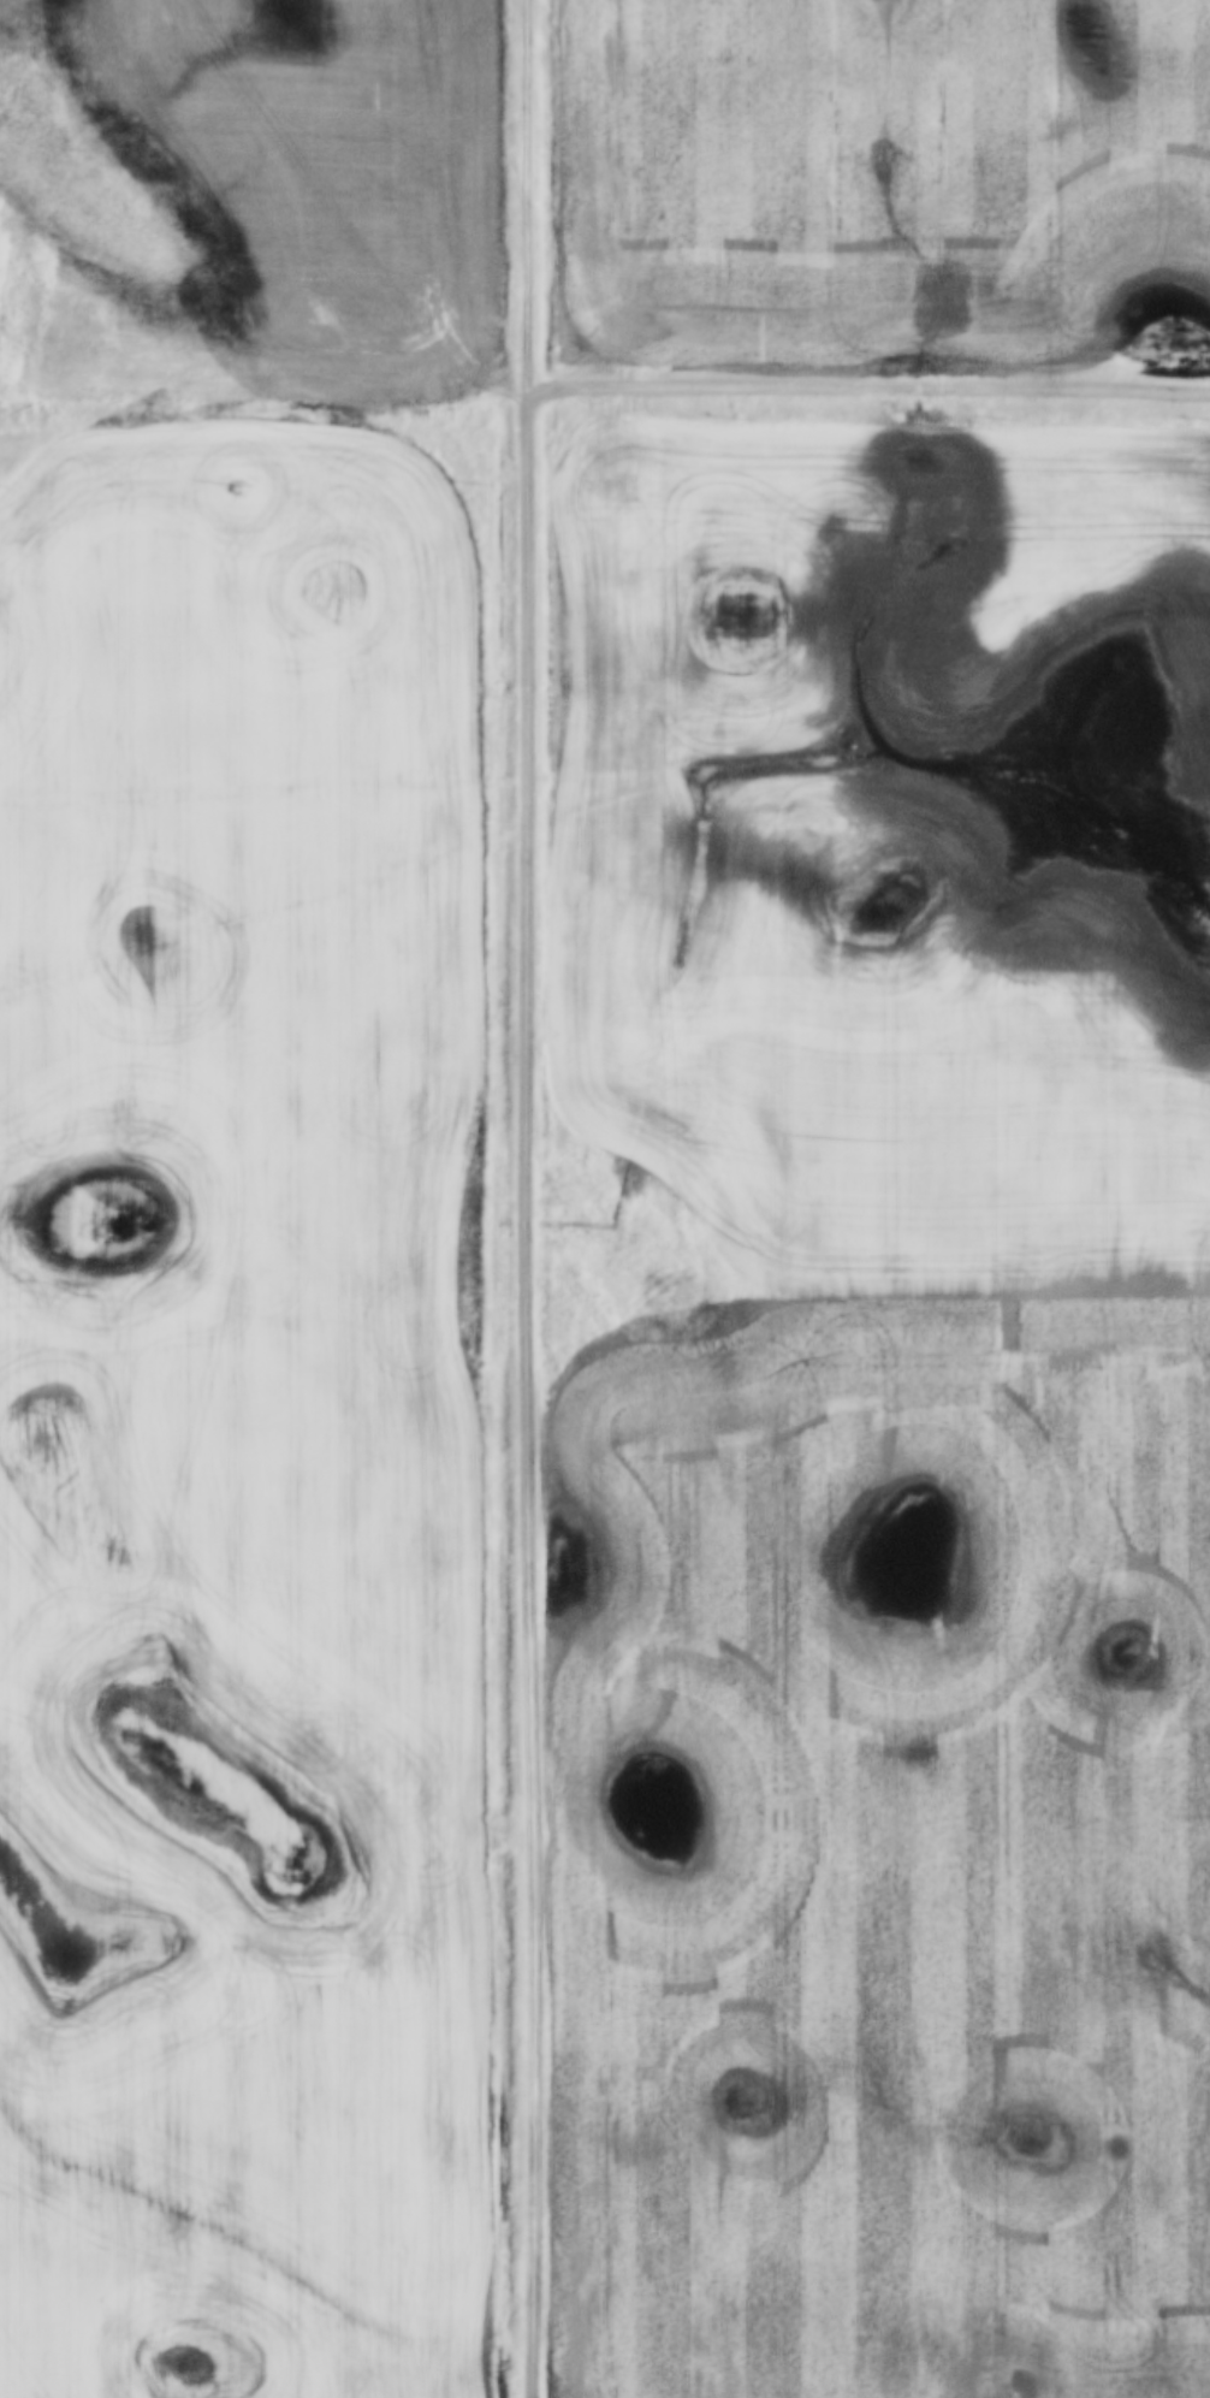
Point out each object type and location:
road: (520, 193)
road: (865, 387)
road: (521, 1392)

